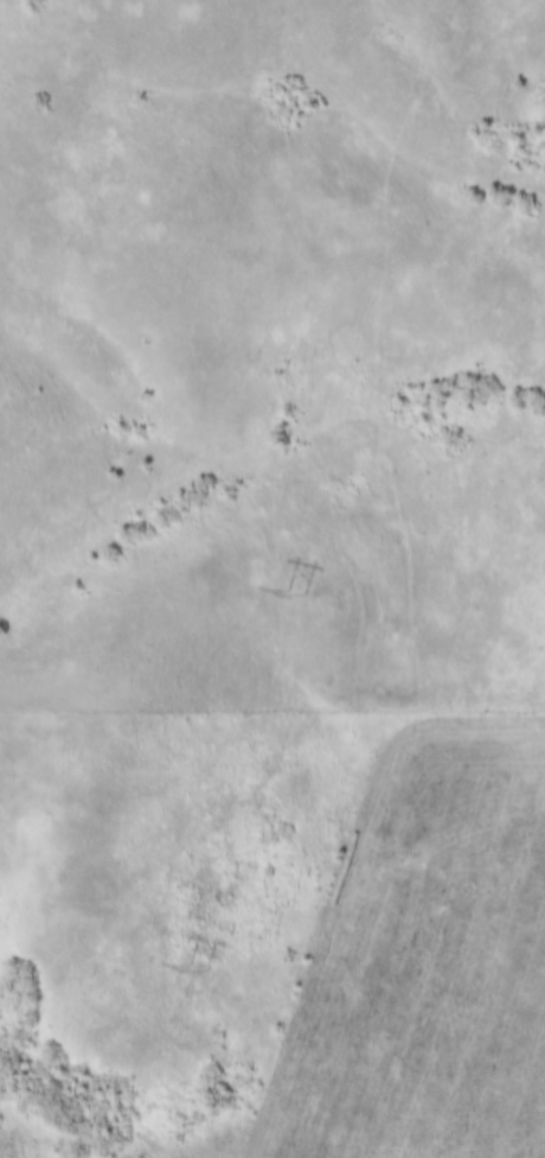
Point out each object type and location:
power tower: (300, 591)
power tower: (200, 968)

